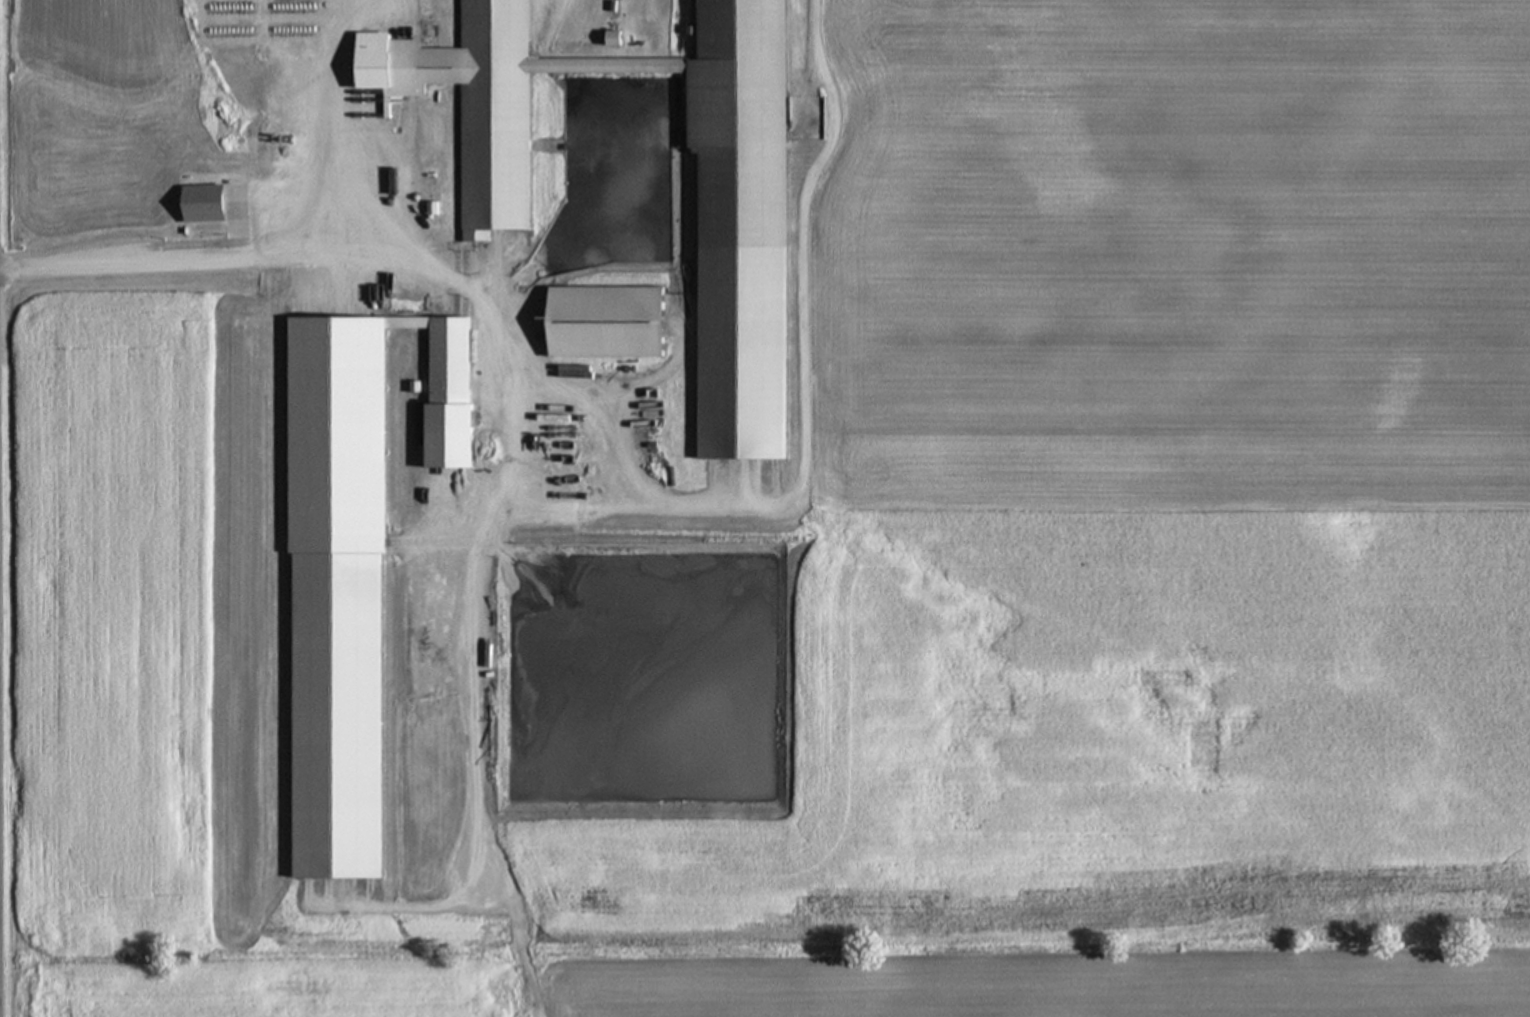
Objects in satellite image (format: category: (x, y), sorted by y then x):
road: (379, 129)
building: (747, 194)
building: (611, 324)
road: (528, 334)
road: (617, 456)
road: (539, 531)

